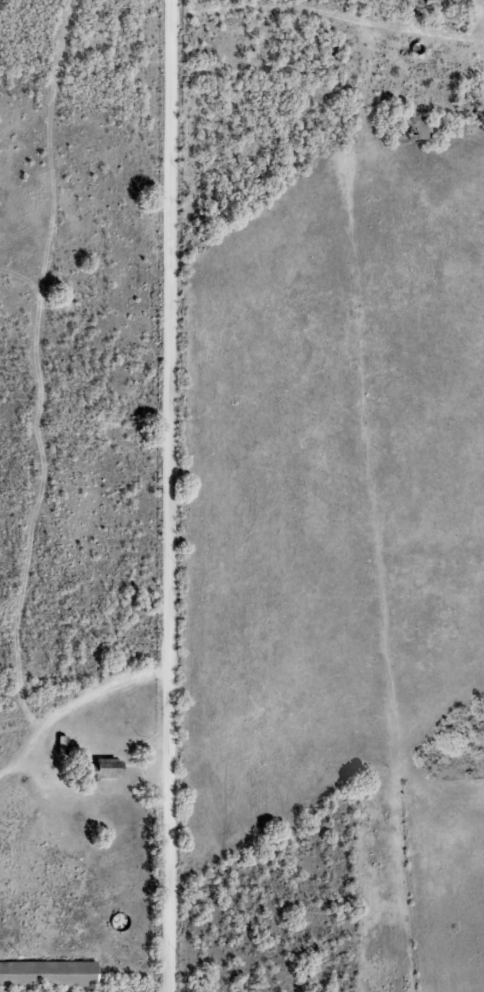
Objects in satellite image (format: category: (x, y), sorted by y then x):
building: (432, 2)
building: (419, 130)
road: (396, 438)
road: (153, 495)
building: (110, 768)
building: (48, 974)

